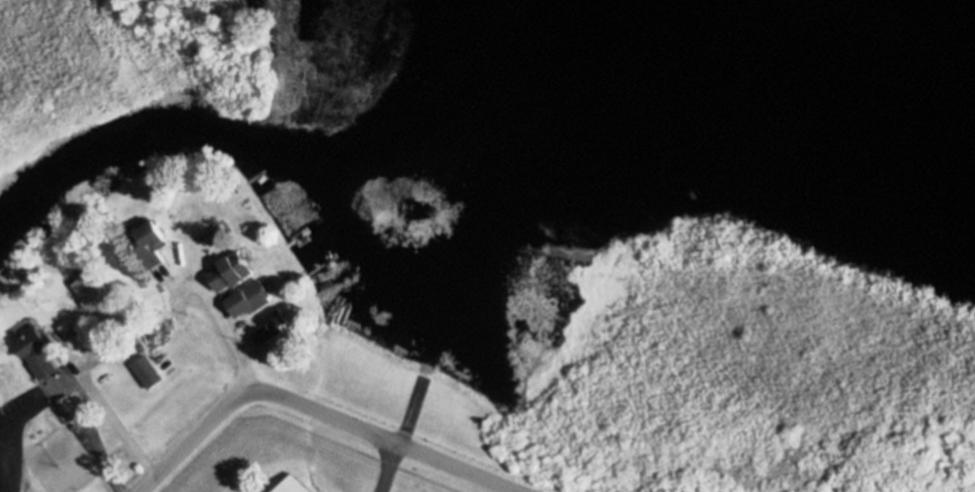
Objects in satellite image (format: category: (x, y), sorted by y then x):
river: (449, 140)
building: (154, 239)
building: (230, 271)
building: (139, 278)
building: (92, 292)
building: (250, 299)
building: (272, 326)
building: (36, 348)
road: (226, 348)
building: (10, 372)
airport: (639, 389)
road: (79, 398)
building: (68, 406)
road: (314, 409)
road: (117, 422)
airport taxiway: (407, 428)
airport hangar: (295, 485)
building: (295, 485)

